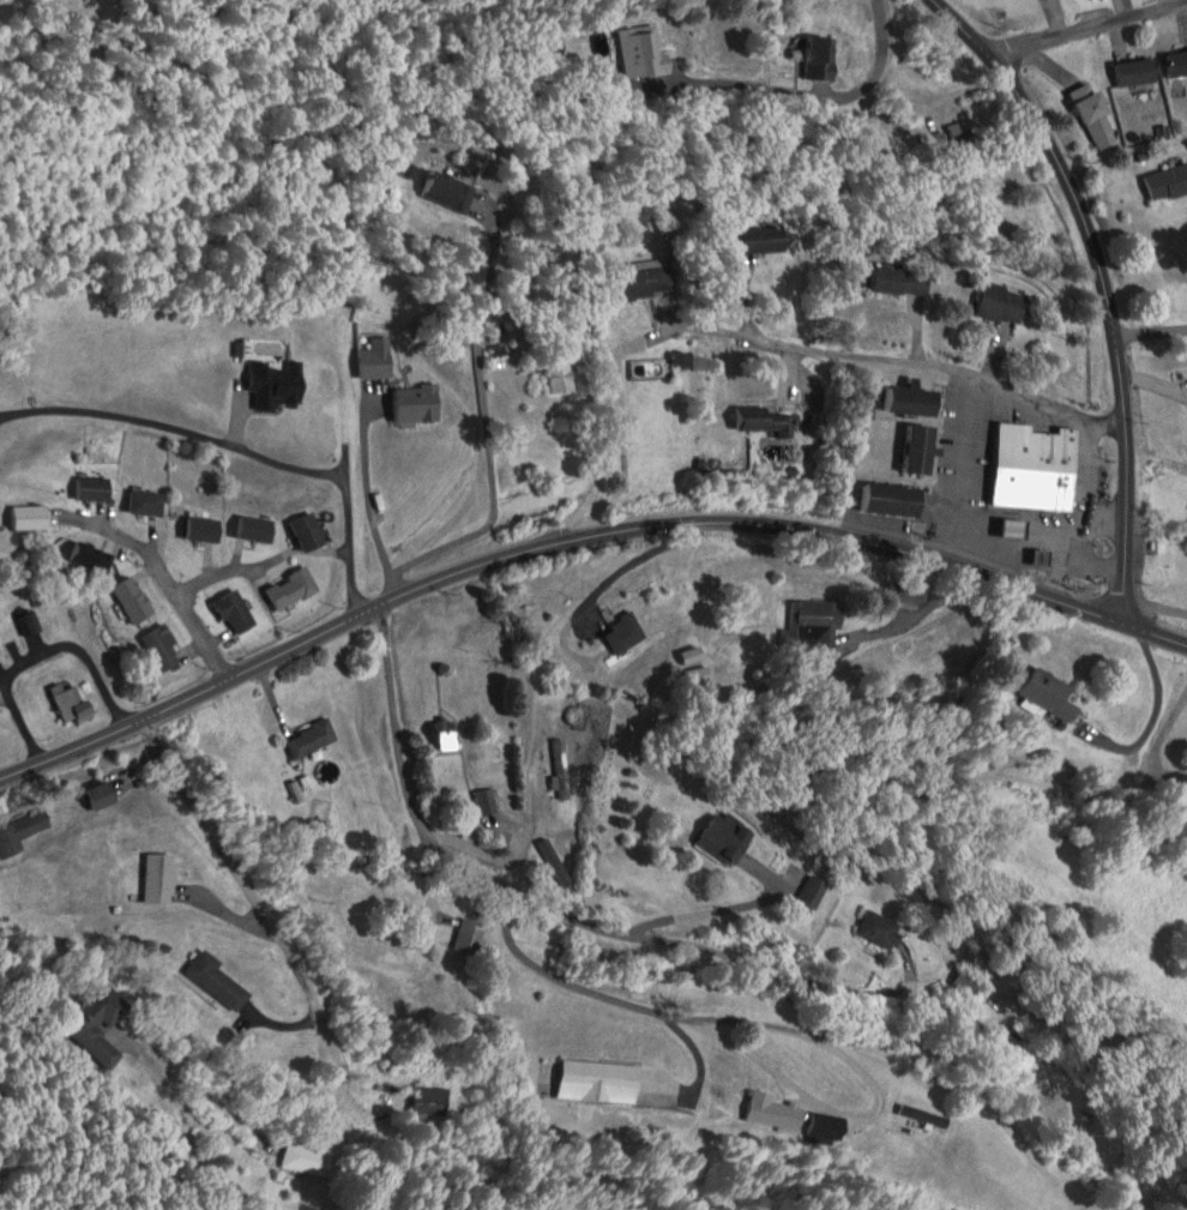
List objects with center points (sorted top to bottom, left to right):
road: (1085, 25)
building: (649, 53)
building: (823, 59)
building: (1177, 65)
building: (1135, 72)
road: (962, 76)
road: (821, 94)
building: (1097, 120)
building: (968, 134)
building: (1168, 182)
building: (448, 191)
building: (763, 241)
building: (643, 281)
building: (902, 281)
road: (1098, 287)
building: (1002, 303)
road: (1147, 332)
road: (525, 341)
road: (894, 359)
building: (375, 360)
building: (560, 373)
building: (278, 385)
building: (912, 401)
building: (416, 403)
building: (770, 421)
building: (920, 450)
building: (1034, 468)
building: (94, 489)
building: (892, 499)
building: (147, 502)
building: (29, 518)
building: (204, 529)
building: (255, 530)
building: (308, 535)
road: (541, 546)
building: (91, 558)
road: (221, 574)
road: (169, 585)
building: (293, 589)
building: (908, 596)
building: (133, 601)
road: (1152, 607)
building: (236, 613)
building: (29, 625)
building: (815, 625)
road: (1150, 632)
building: (625, 633)
building: (163, 649)
building: (1050, 693)
building: (71, 705)
building: (446, 735)
building: (312, 739)
building: (562, 769)
building: (102, 795)
building: (486, 801)
road: (420, 821)
building: (22, 832)
building: (727, 836)
building: (555, 862)
building: (161, 877)
building: (815, 890)
building: (881, 928)
building: (469, 935)
road: (797, 977)
road: (565, 979)
building: (219, 980)
building: (968, 980)
building: (98, 1023)
road: (331, 1047)
building: (598, 1080)
building: (427, 1103)
building: (773, 1113)
building: (924, 1115)
building: (306, 1158)

